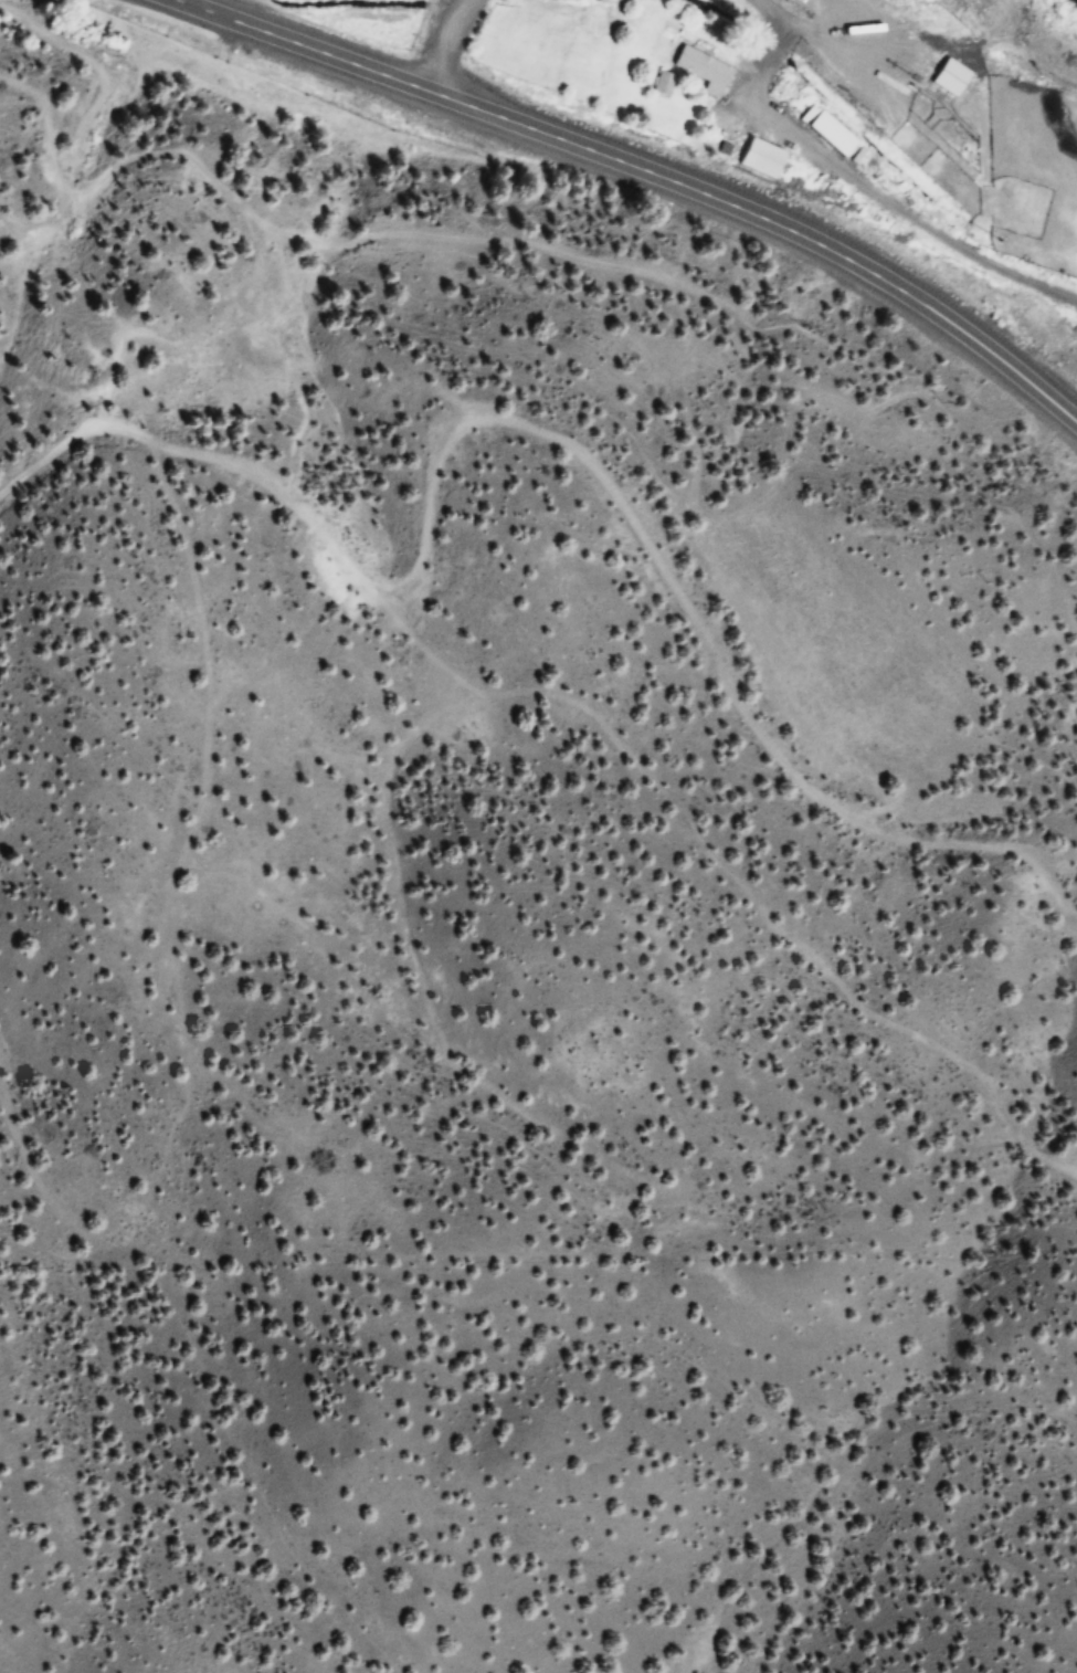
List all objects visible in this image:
road: (447, 42)
building: (703, 71)
building: (948, 78)
building: (665, 85)
building: (830, 136)
building: (765, 159)
road: (646, 169)
road: (853, 180)

